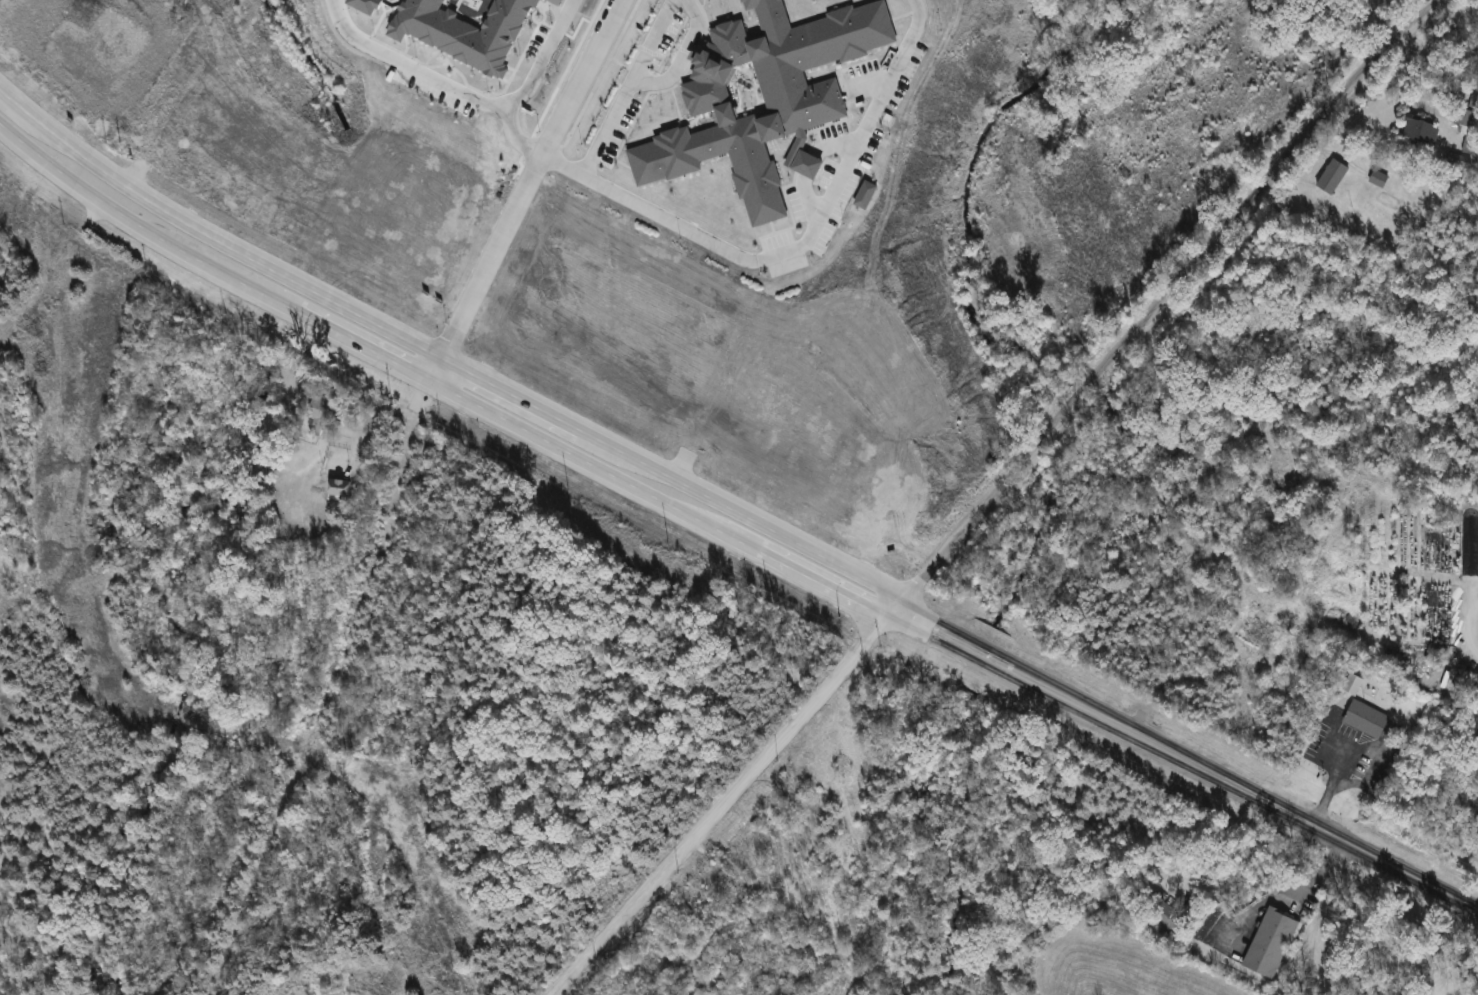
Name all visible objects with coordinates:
road: (676, 53)
road: (1415, 78)
road: (621, 83)
road: (459, 87)
building: (1469, 116)
building: (1418, 131)
building: (1455, 160)
building: (1330, 176)
road: (523, 189)
road: (757, 248)
road: (444, 353)
road: (437, 383)
building: (320, 408)
road: (386, 415)
building: (336, 489)
road: (991, 495)
building: (1349, 686)
building: (1475, 690)
building: (1363, 720)
road: (1185, 759)
road: (1330, 788)
road: (1267, 899)
road: (1317, 915)
building: (1266, 945)
road: (1435, 945)

